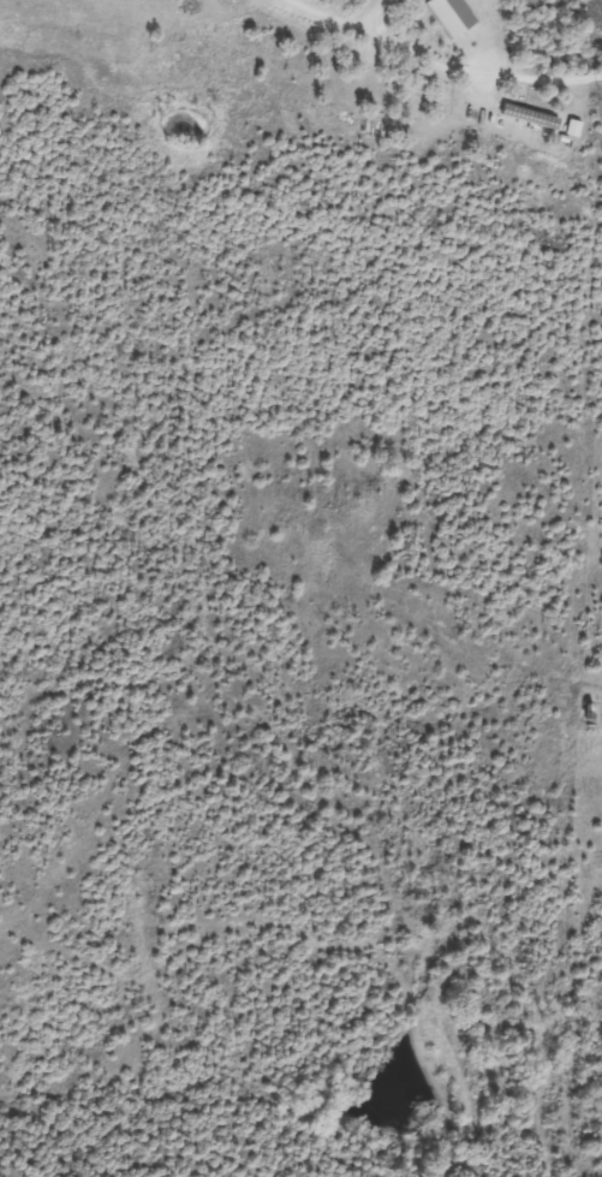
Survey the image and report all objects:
building: (453, 16)

